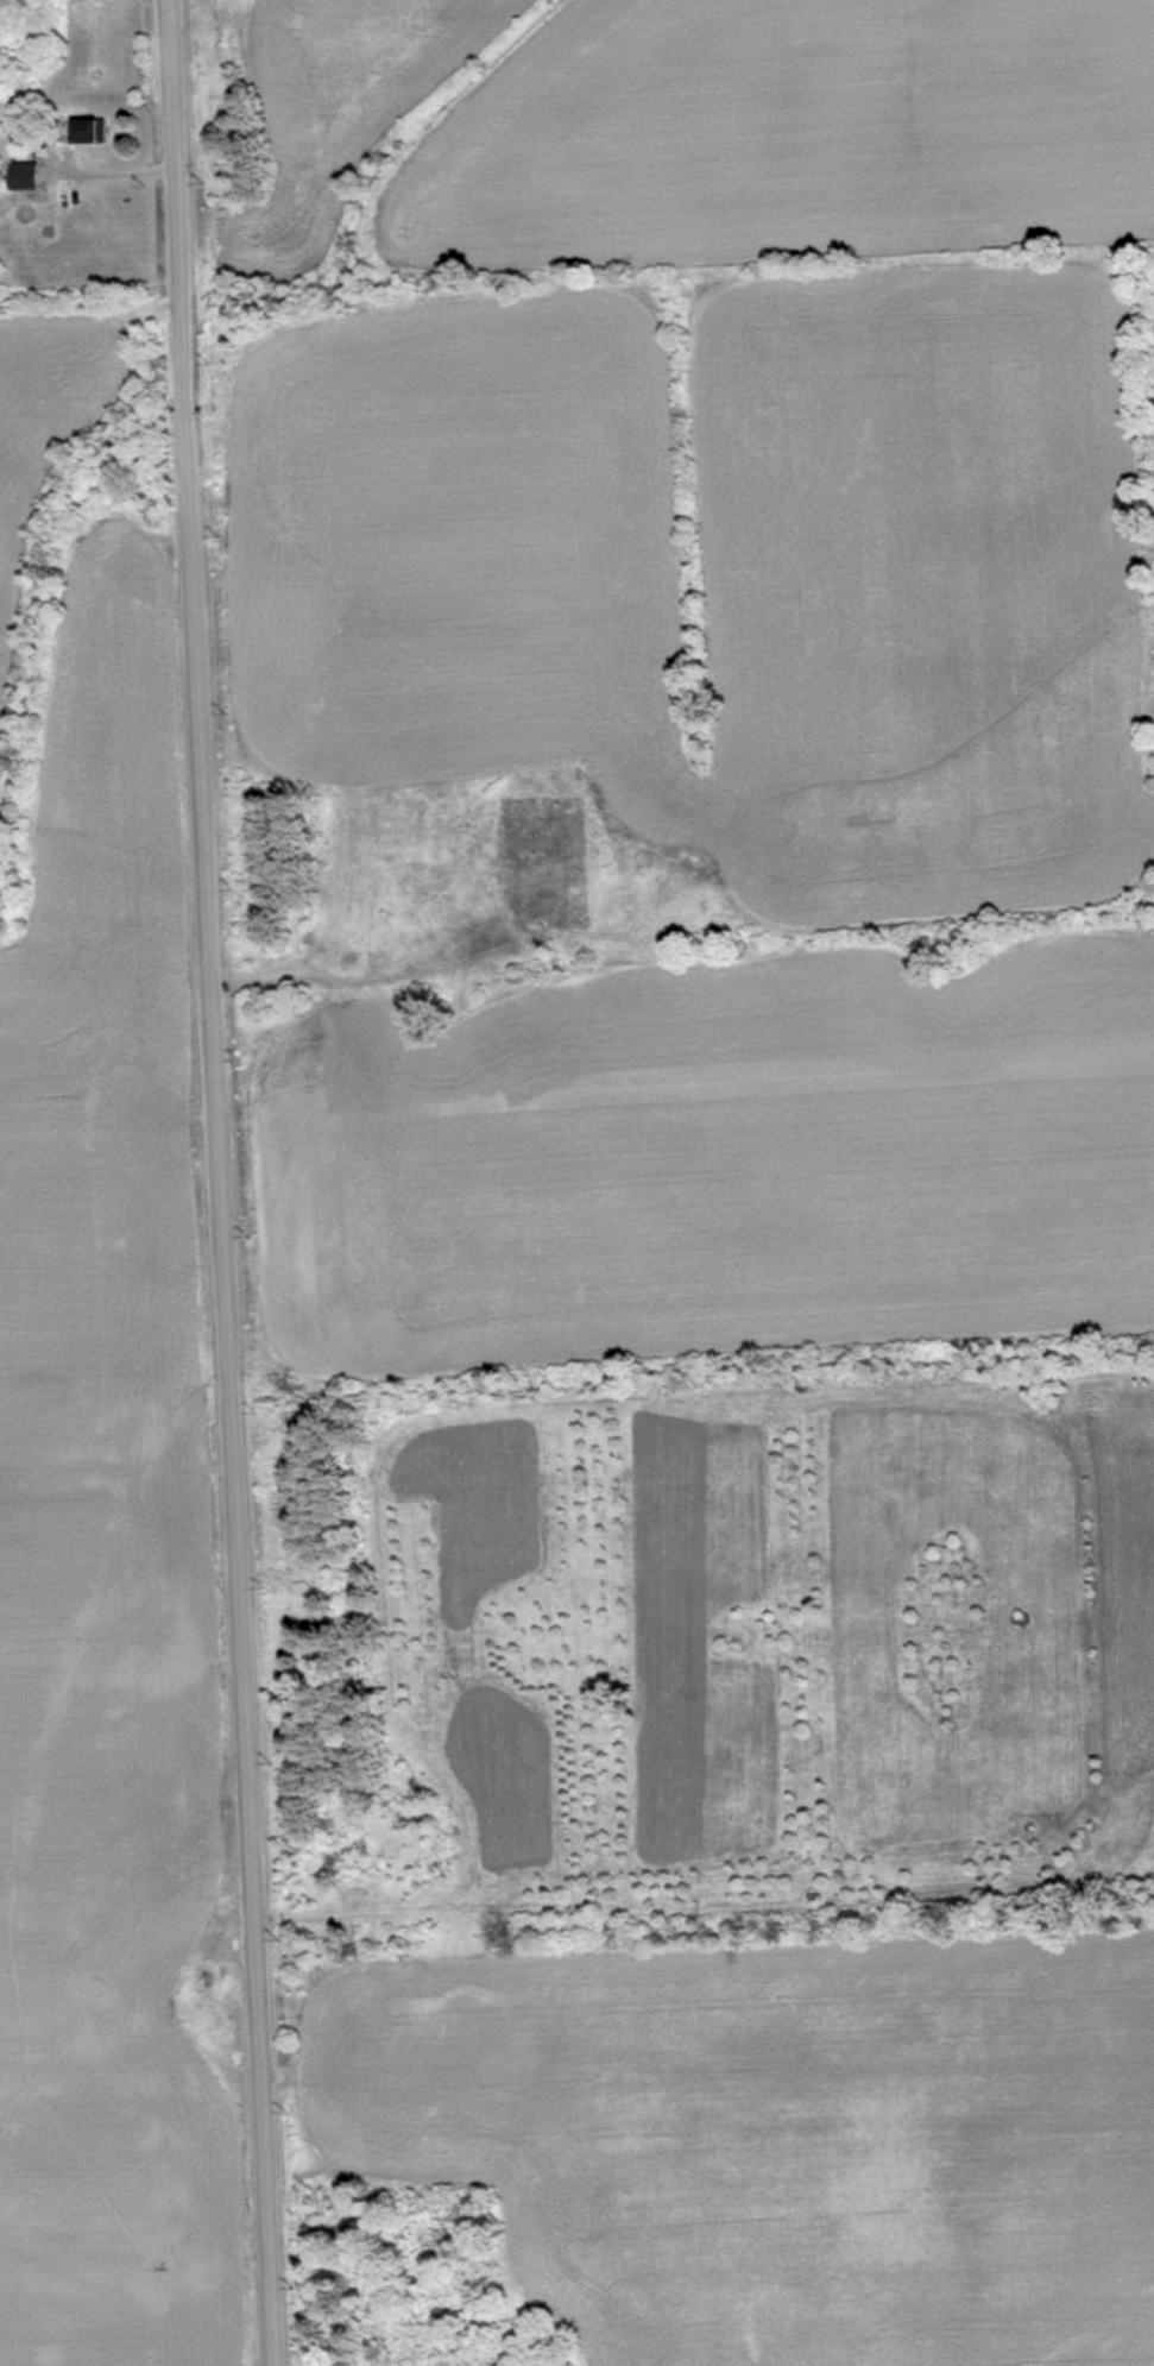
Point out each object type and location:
building: (97, 132)
road: (88, 257)
road: (216, 1183)

